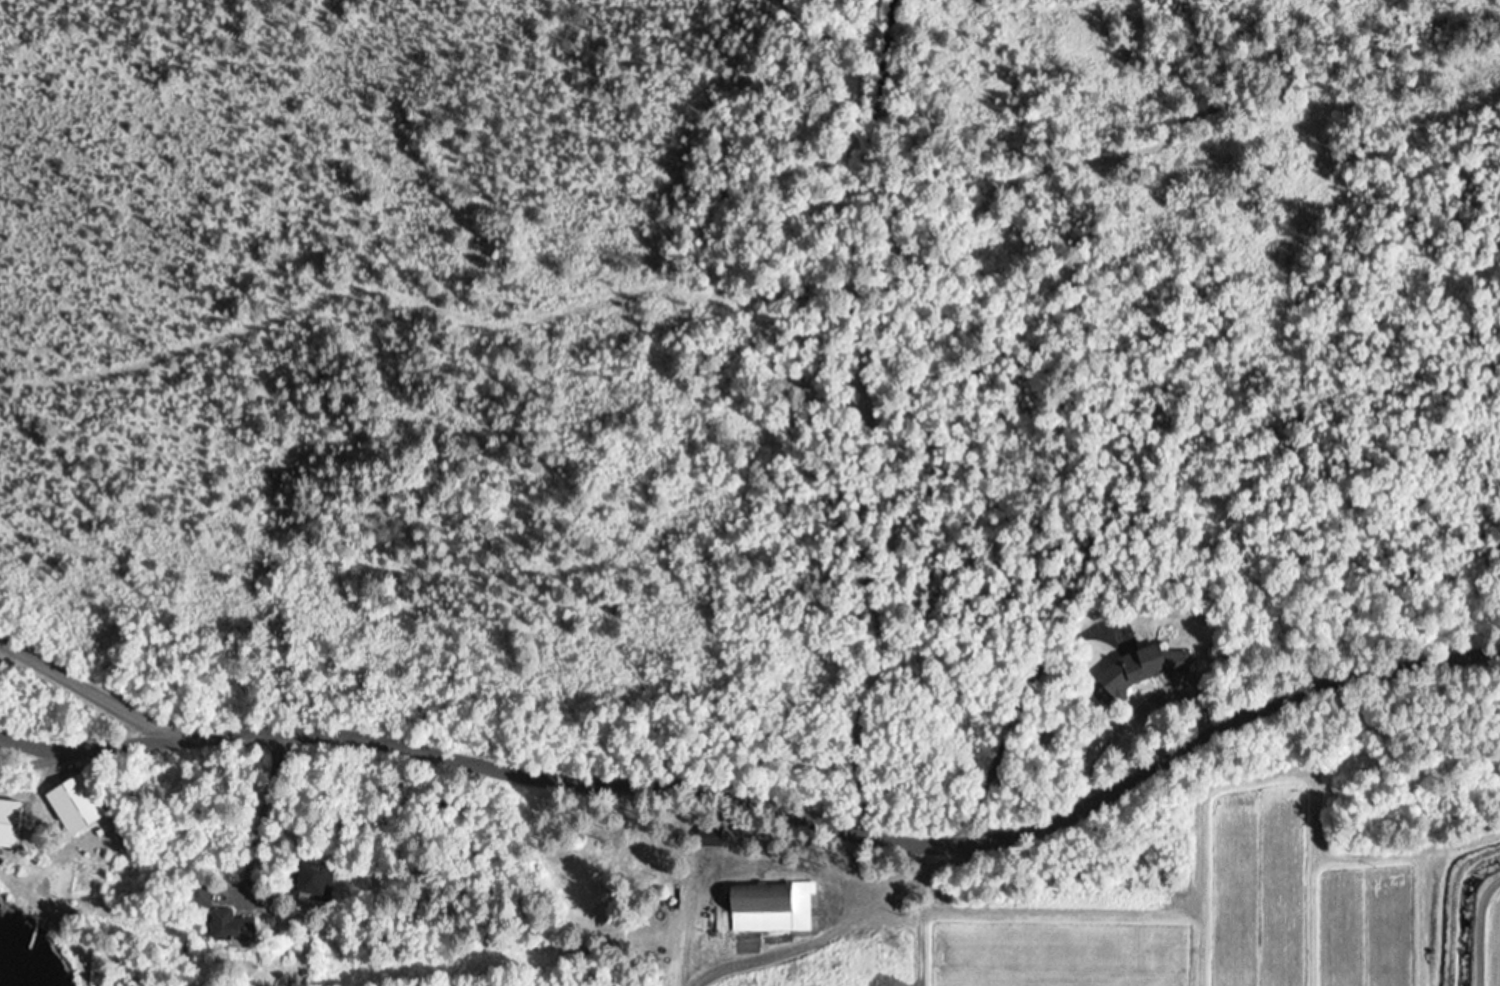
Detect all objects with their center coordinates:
building: (1141, 667)
road: (1180, 738)
road: (480, 761)
building: (708, 835)
building: (637, 852)
building: (313, 879)
road: (1159, 901)
building: (769, 907)
crop: (1242, 909)
building: (229, 925)

